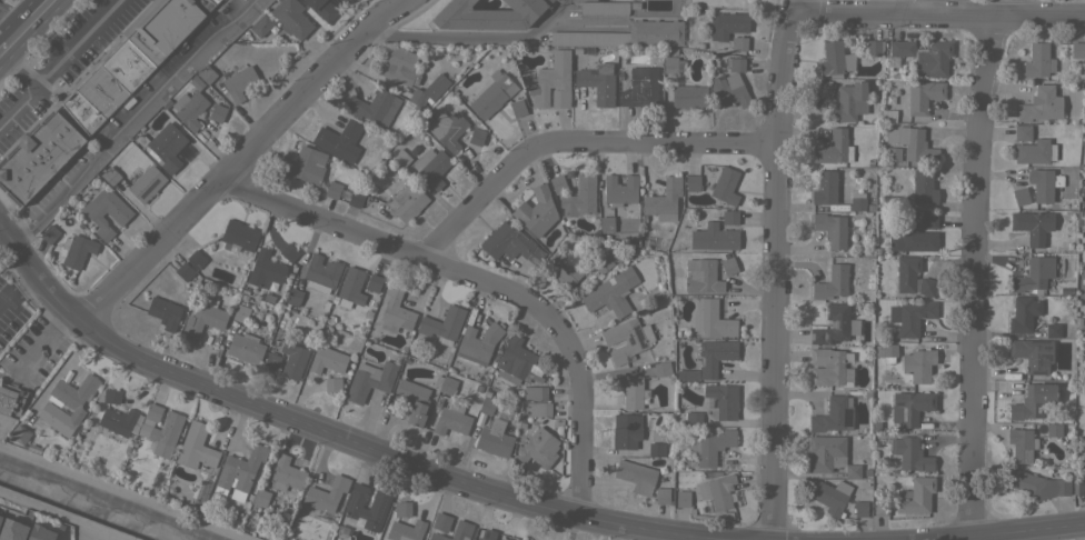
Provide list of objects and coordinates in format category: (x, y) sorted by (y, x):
building: (549, 0)
building: (213, 1)
building: (345, 1)
building: (545, 1)
building: (604, 8)
road: (902, 8)
building: (322, 9)
building: (487, 16)
road: (942, 16)
building: (291, 18)
road: (29, 22)
building: (261, 24)
building: (730, 24)
building: (163, 26)
building: (626, 34)
road: (474, 41)
building: (738, 43)
building: (874, 48)
building: (902, 48)
road: (3, 49)
building: (1076, 49)
building: (934, 58)
building: (835, 60)
building: (1038, 60)
road: (60, 61)
building: (126, 64)
building: (673, 64)
building: (400, 66)
building: (206, 73)
building: (553, 81)
building: (239, 82)
building: (598, 83)
building: (729, 86)
building: (640, 88)
building: (824, 89)
building: (492, 94)
building: (923, 96)
building: (688, 97)
building: (93, 98)
building: (419, 98)
building: (849, 101)
building: (1041, 104)
road: (18, 107)
building: (374, 107)
building: (518, 108)
building: (189, 109)
building: (218, 112)
building: (886, 116)
road: (128, 122)
building: (447, 129)
building: (1022, 132)
building: (477, 137)
building: (339, 141)
building: (913, 143)
road: (575, 146)
building: (167, 147)
building: (834, 148)
building: (1035, 151)
building: (894, 153)
building: (37, 157)
building: (400, 158)
road: (240, 161)
building: (307, 166)
building: (431, 167)
building: (110, 176)
building: (146, 183)
building: (558, 183)
building: (693, 183)
building: (1044, 184)
building: (725, 186)
building: (924, 187)
building: (825, 189)
building: (332, 190)
building: (619, 190)
building: (1021, 196)
building: (579, 197)
building: (356, 198)
building: (663, 200)
building: (406, 202)
building: (892, 202)
building: (856, 204)
building: (536, 211)
building: (121, 214)
building: (729, 217)
building: (1084, 217)
building: (928, 220)
building: (606, 223)
building: (1033, 226)
building: (832, 228)
road: (1, 233)
building: (49, 233)
building: (238, 236)
building: (714, 237)
building: (913, 240)
building: (510, 243)
building: (77, 250)
building: (289, 252)
building: (1084, 257)
building: (196, 258)
building: (603, 263)
building: (728, 264)
road: (974, 264)
road: (774, 267)
building: (265, 269)
building: (563, 269)
building: (186, 272)
building: (321, 273)
building: (906, 273)
building: (1034, 274)
building: (701, 276)
building: (374, 282)
building: (832, 282)
road: (27, 283)
road: (482, 284)
building: (927, 287)
building: (351, 288)
building: (607, 294)
building: (292, 297)
road: (10, 301)
building: (395, 310)
building: (165, 312)
building: (240, 313)
building: (1023, 313)
building: (910, 317)
building: (203, 318)
building: (711, 319)
building: (442, 323)
rooftop solar panel: (835, 324)
building: (835, 326)
rooftop solar panel: (847, 327)
building: (1052, 329)
building: (626, 339)
building: (478, 342)
building: (1084, 342)
building: (245, 348)
building: (1084, 348)
building: (886, 349)
building: (1032, 353)
building: (715, 356)
building: (515, 358)
building: (292, 359)
building: (327, 360)
building: (271, 361)
building: (918, 364)
building: (828, 367)
building: (661, 369)
building: (687, 374)
building: (369, 380)
building: (332, 383)
building: (447, 384)
building: (630, 390)
building: (535, 392)
building: (110, 396)
building: (10, 399)
building: (414, 400)
building: (721, 401)
building: (1033, 401)
building: (67, 403)
rooftop solar panel: (899, 404)
building: (487, 406)
building: (910, 407)
building: (539, 409)
building: (153, 412)
rooftop solar panel: (903, 414)
building: (832, 416)
rooftop solar panel: (848, 417)
building: (693, 418)
building: (451, 419)
building: (118, 420)
road: (325, 429)
building: (626, 430)
building: (1053, 430)
building: (163, 432)
building: (20, 434)
building: (494, 442)
building: (1021, 444)
building: (709, 446)
building: (196, 448)
building: (538, 448)
building: (656, 448)
building: (910, 454)
building: (829, 456)
building: (241, 469)
building: (286, 473)
building: (636, 476)
building: (1035, 486)
building: (1081, 488)
building: (716, 490)
building: (326, 494)
building: (661, 496)
building: (916, 496)
building: (260, 497)
building: (832, 497)
building: (683, 499)
rooftop solar panel: (381, 506)
building: (355, 508)
building: (401, 508)
building: (880, 508)
building: (860, 509)
road: (60, 516)
building: (0, 517)
building: (440, 521)
building: (11, 530)
building: (406, 530)
building: (455, 532)
building: (39, 533)
road: (954, 533)
building: (487, 534)
building: (522, 539)

